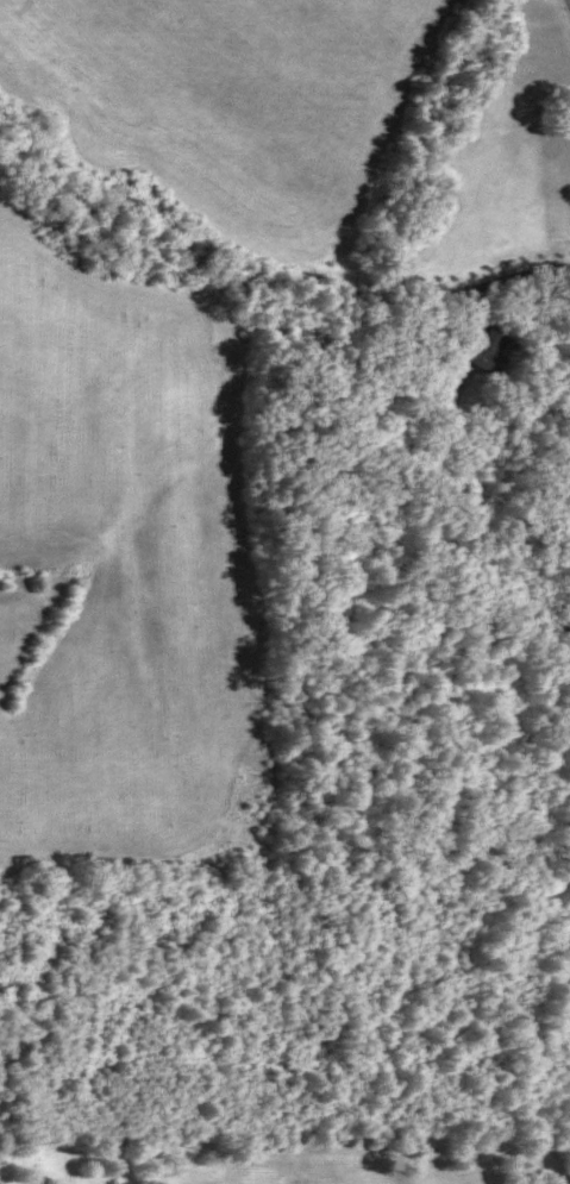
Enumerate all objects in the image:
road: (569, 0)
building: (487, 351)

